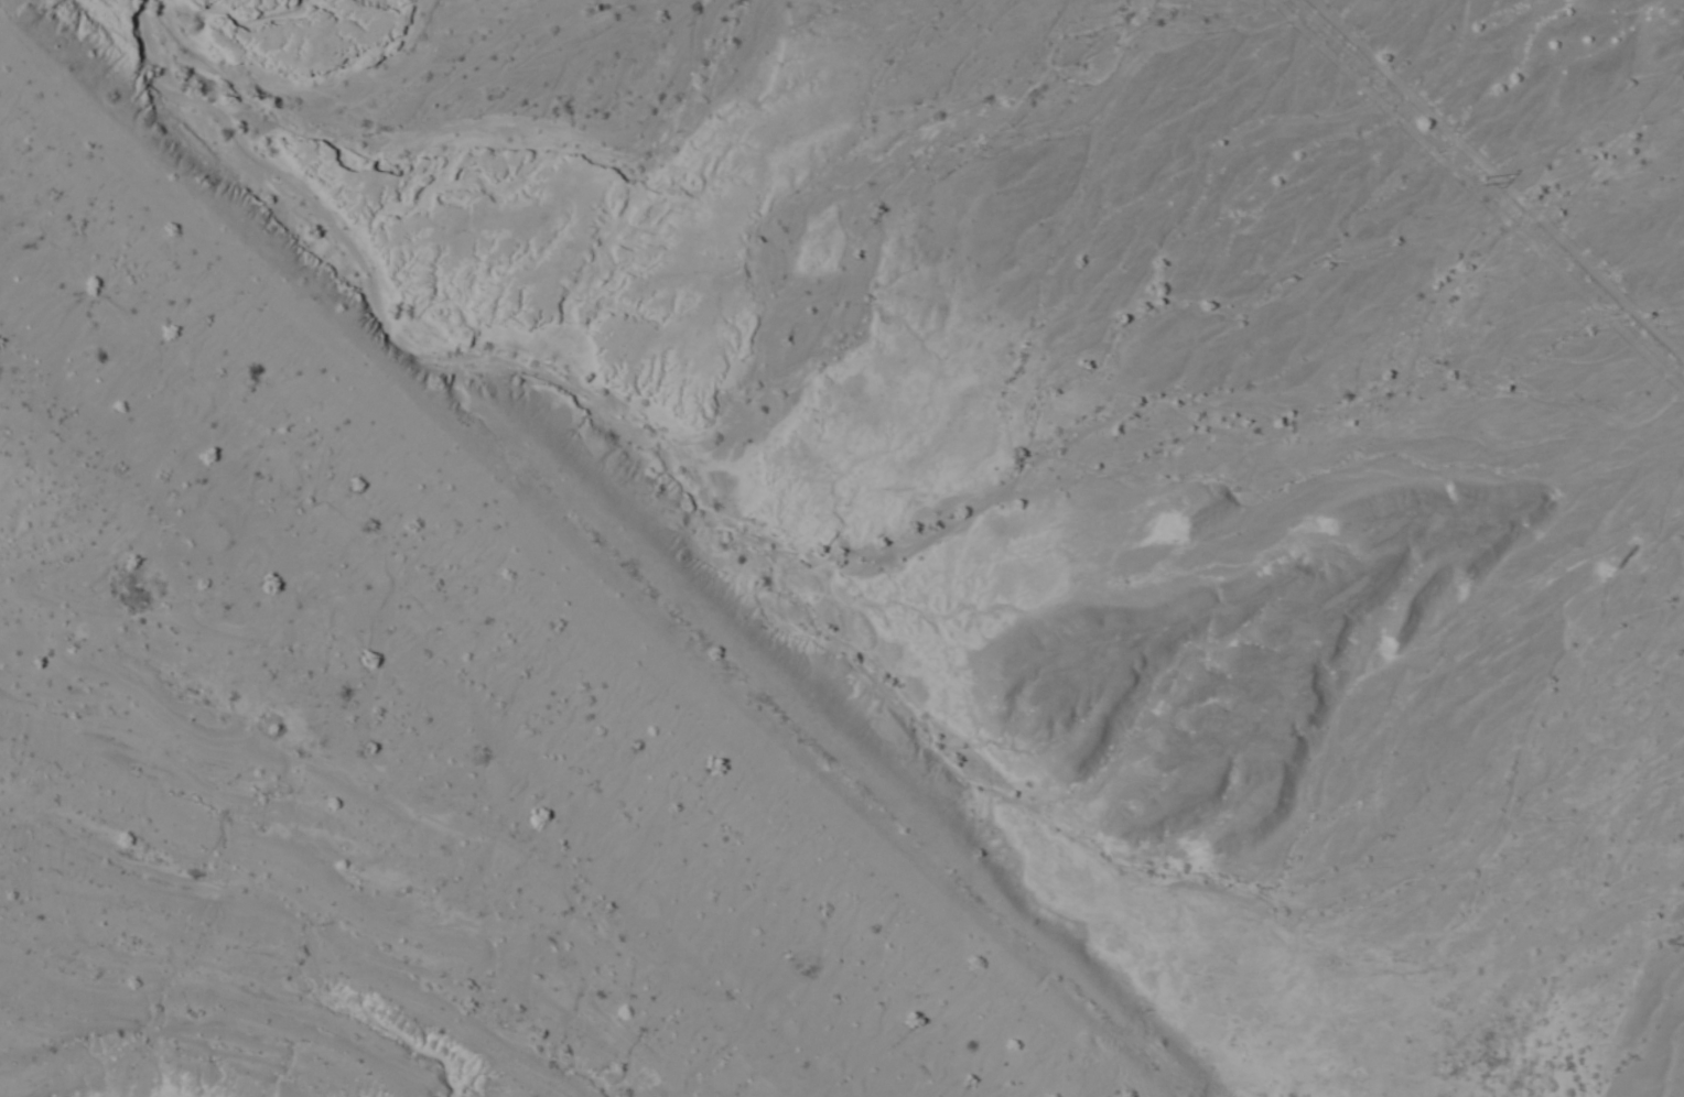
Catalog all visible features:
power tower: (1473, 182)

